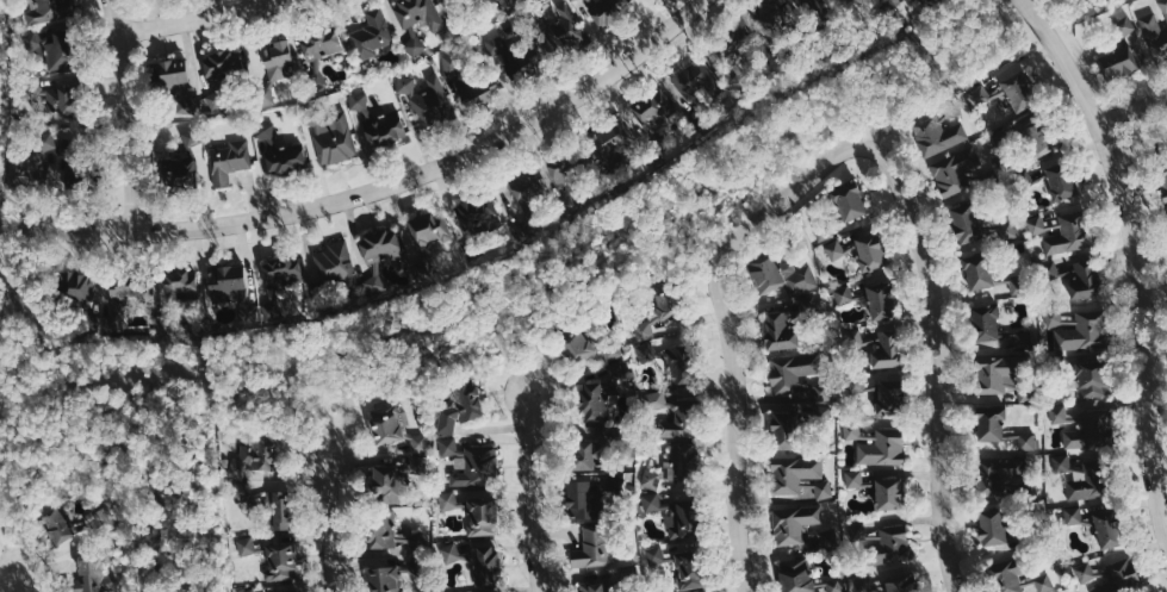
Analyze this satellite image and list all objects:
building: (799, 0)
building: (1163, 5)
building: (777, 7)
building: (608, 8)
building: (48, 10)
building: (421, 13)
road: (201, 17)
building: (1124, 23)
building: (569, 29)
building: (372, 35)
building: (1155, 35)
building: (32, 38)
building: (496, 44)
building: (416, 46)
building: (60, 51)
building: (319, 52)
building: (278, 60)
building: (523, 62)
building: (1119, 62)
building: (223, 63)
building: (169, 75)
building: (695, 79)
building: (468, 82)
building: (405, 83)
building: (1019, 92)
building: (263, 96)
building: (62, 100)
building: (359, 100)
building: (217, 101)
building: (433, 101)
building: (654, 110)
road: (1134, 113)
road: (125, 114)
building: (385, 127)
building: (938, 135)
building: (612, 136)
building: (1035, 136)
building: (335, 137)
road: (1140, 145)
building: (280, 151)
building: (35, 158)
building: (230, 161)
building: (955, 167)
building: (561, 173)
building: (179, 175)
building: (1061, 181)
building: (1163, 183)
building: (524, 186)
road: (374, 189)
building: (849, 201)
building: (482, 212)
building: (964, 223)
building: (430, 229)
building: (1068, 235)
building: (836, 250)
building: (869, 251)
building: (380, 254)
road: (1135, 254)
road: (585, 255)
building: (337, 263)
building: (281, 272)
building: (976, 272)
building: (782, 276)
building: (1076, 276)
building: (178, 285)
building: (226, 285)
building: (77, 287)
building: (844, 293)
building: (130, 295)
building: (879, 299)
building: (272, 311)
building: (663, 316)
building: (985, 322)
road: (936, 323)
building: (1078, 329)
building: (781, 331)
building: (1013, 341)
building: (879, 345)
building: (577, 348)
building: (613, 351)
building: (647, 351)
park: (18, 363)
building: (679, 364)
road: (733, 367)
building: (994, 374)
building: (794, 376)
building: (1090, 378)
building: (601, 394)
building: (889, 394)
building: (654, 400)
building: (460, 407)
building: (1059, 413)
building: (818, 415)
building: (679, 422)
building: (989, 422)
building: (390, 424)
building: (784, 430)
building: (853, 432)
building: (1090, 432)
building: (1029, 441)
building: (418, 443)
building: (449, 447)
building: (883, 448)
road: (130, 451)
building: (582, 455)
building: (252, 457)
building: (476, 466)
building: (672, 466)
building: (997, 476)
building: (800, 478)
building: (855, 478)
building: (1078, 479)
building: (387, 485)
building: (243, 491)
road: (533, 492)
building: (888, 494)
building: (448, 500)
building: (583, 500)
building: (652, 501)
building: (278, 510)
building: (480, 516)
building: (1073, 516)
building: (679, 521)
road: (330, 523)
building: (795, 524)
building: (55, 525)
building: (992, 526)
building: (1105, 530)
building: (390, 532)
building: (890, 544)
building: (246, 546)
building: (592, 548)
building: (451, 553)
building: (656, 555)
building: (281, 561)
building: (485, 565)
building: (690, 569)
building: (1085, 572)
building: (795, 575)
building: (1121, 575)
building: (93, 578)
building: (384, 579)
building: (1019, 580)
road: (19, 584)
building: (836, 585)
building: (901, 585)
building: (592, 587)
building: (250, 590)
building: (294, 591)

